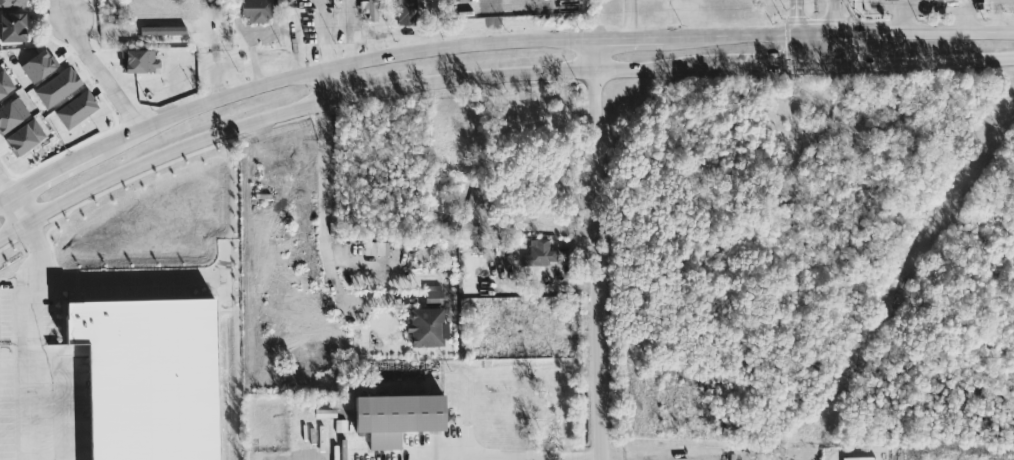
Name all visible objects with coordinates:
road: (969, 2)
building: (12, 3)
road: (902, 3)
road: (935, 5)
road: (899, 6)
building: (255, 10)
building: (373, 10)
building: (406, 12)
road: (794, 16)
road: (835, 16)
road: (628, 18)
road: (969, 18)
building: (12, 26)
building: (162, 29)
road: (350, 30)
road: (815, 32)
traffic signals: (836, 32)
road: (925, 32)
road: (320, 33)
traffic signals: (795, 33)
road: (731, 34)
road: (628, 36)
road: (216, 47)
road: (837, 47)
road: (795, 48)
road: (926, 58)
building: (139, 60)
road: (817, 62)
traffic signals: (838, 62)
traffic signals: (796, 63)
road: (758, 64)
road: (336, 65)
building: (38, 66)
road: (91, 67)
building: (5, 84)
road: (320, 84)
building: (58, 86)
road: (346, 95)
building: (76, 109)
building: (12, 114)
building: (25, 136)
road: (53, 170)
road: (5, 184)
road: (5, 195)
road: (20, 205)
road: (323, 239)
building: (378, 247)
road: (595, 248)
building: (539, 252)
road: (136, 277)
road: (42, 283)
building: (433, 293)
building: (426, 327)
road: (29, 404)
building: (397, 416)
road: (857, 453)
road: (500, 456)
building: (857, 458)

